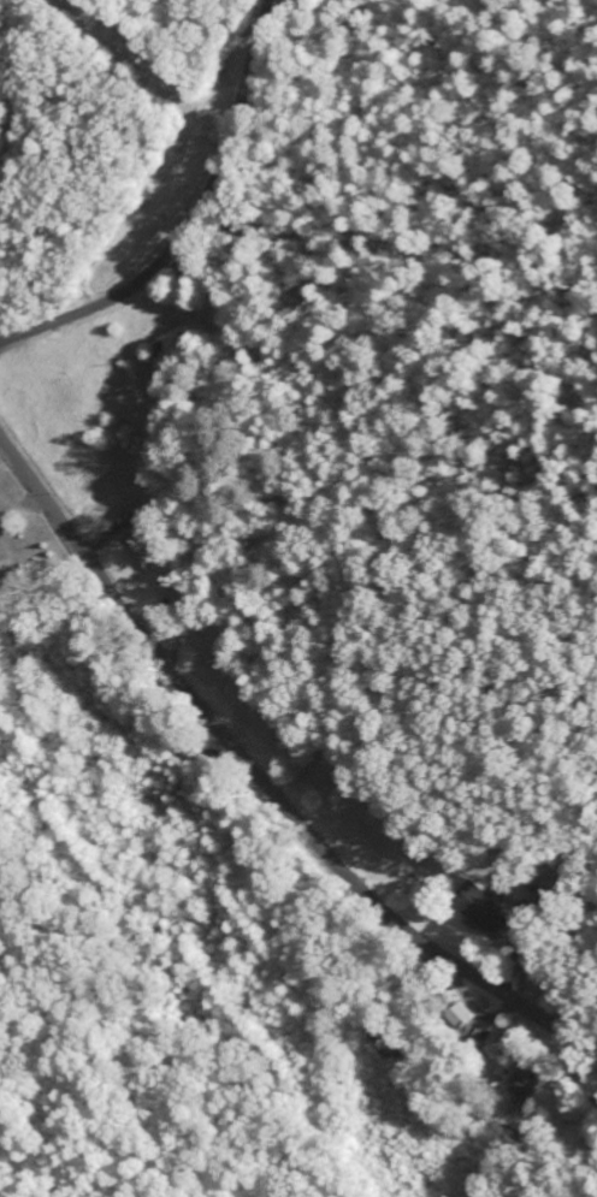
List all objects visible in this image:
road: (36, 211)
road: (193, 221)
road: (262, 781)
building: (485, 909)

